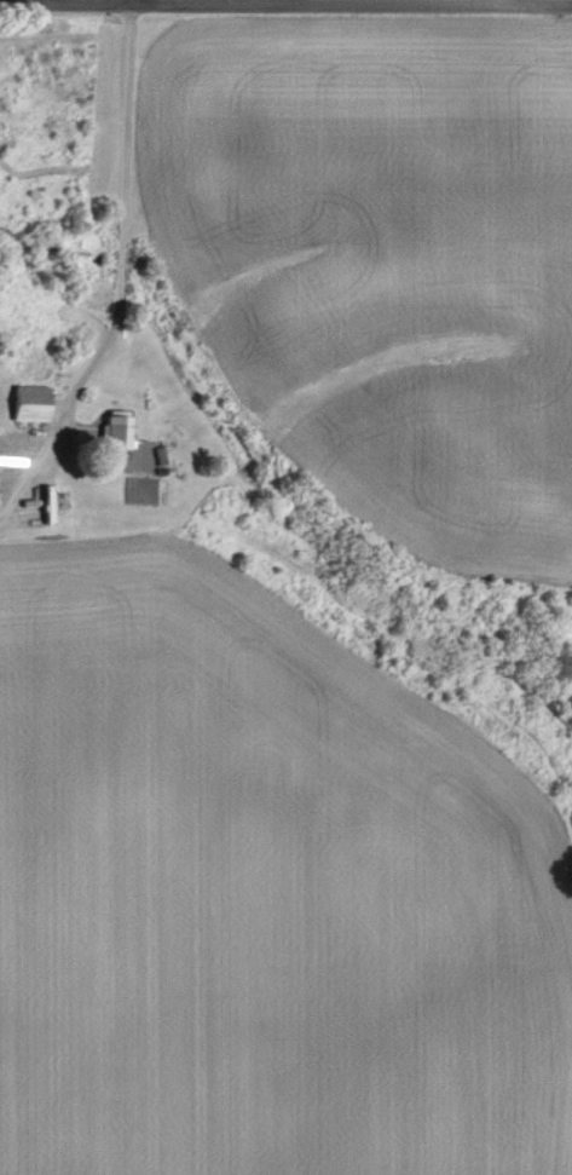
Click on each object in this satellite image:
road: (46, 1)
road: (125, 1)
road: (285, 5)
road: (114, 267)
building: (24, 403)
building: (111, 427)

